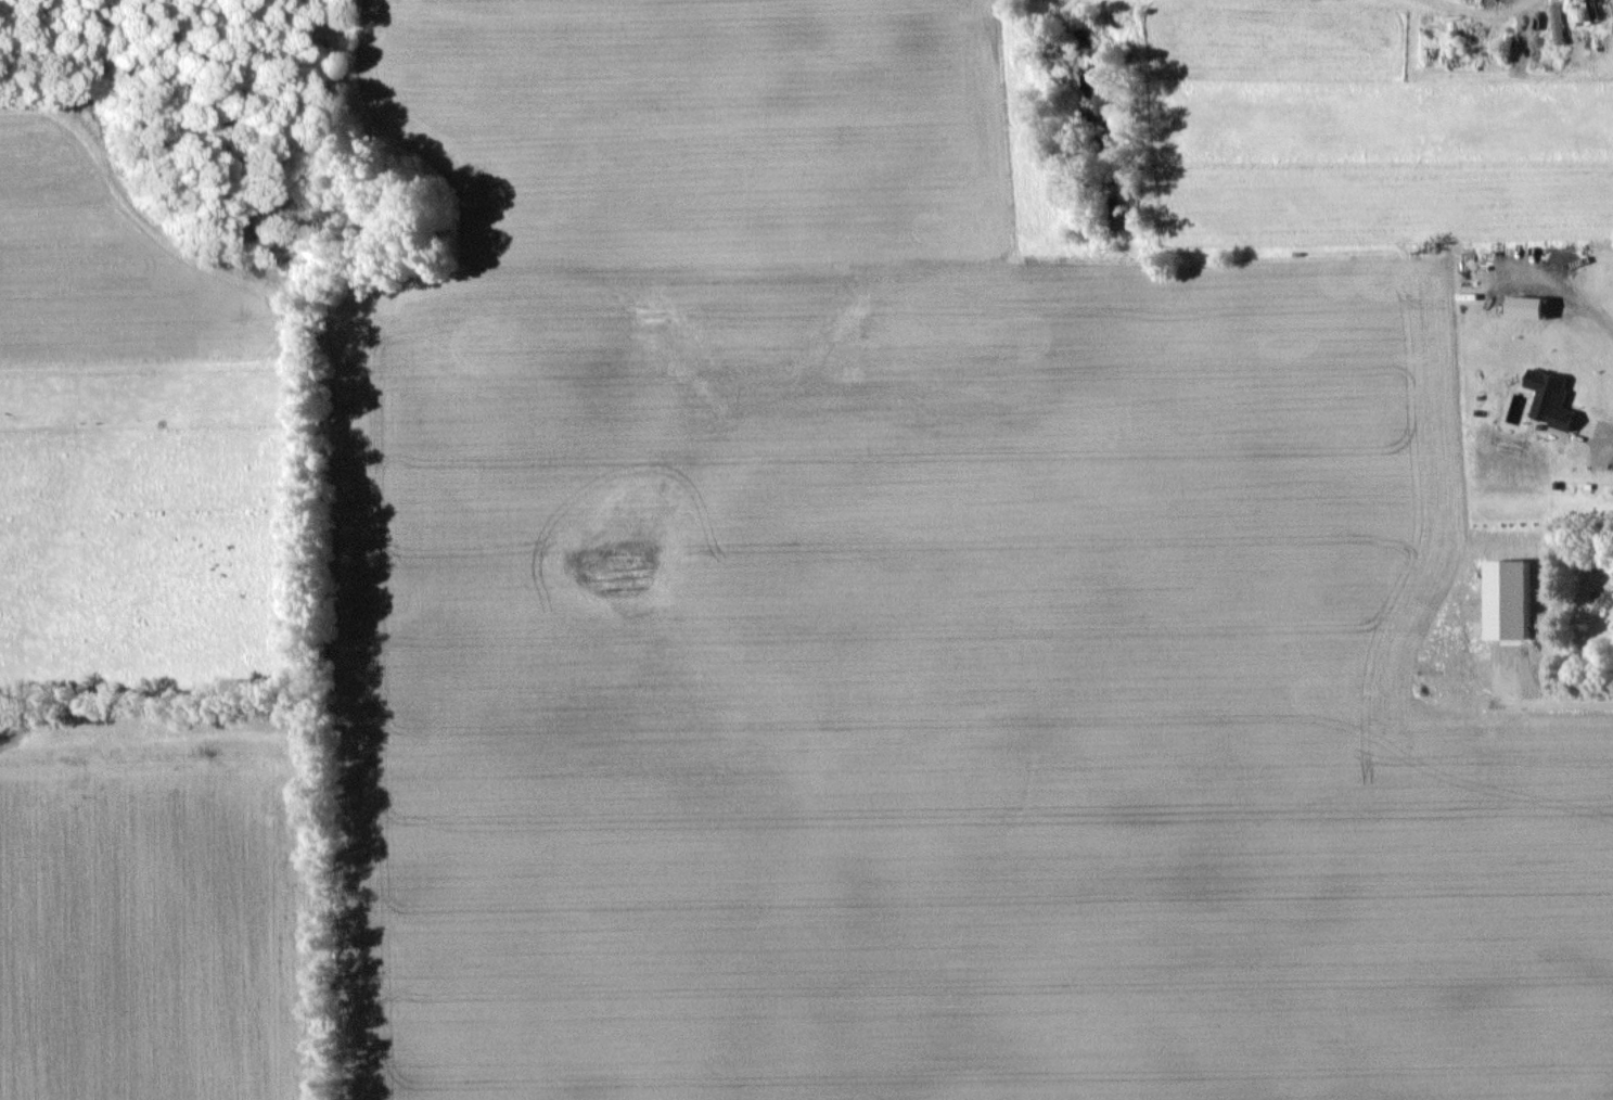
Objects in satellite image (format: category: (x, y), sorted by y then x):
road: (1477, 10)
road: (1576, 302)
building: (1527, 306)
building: (1550, 398)
building: (1583, 425)
building: (1509, 598)

